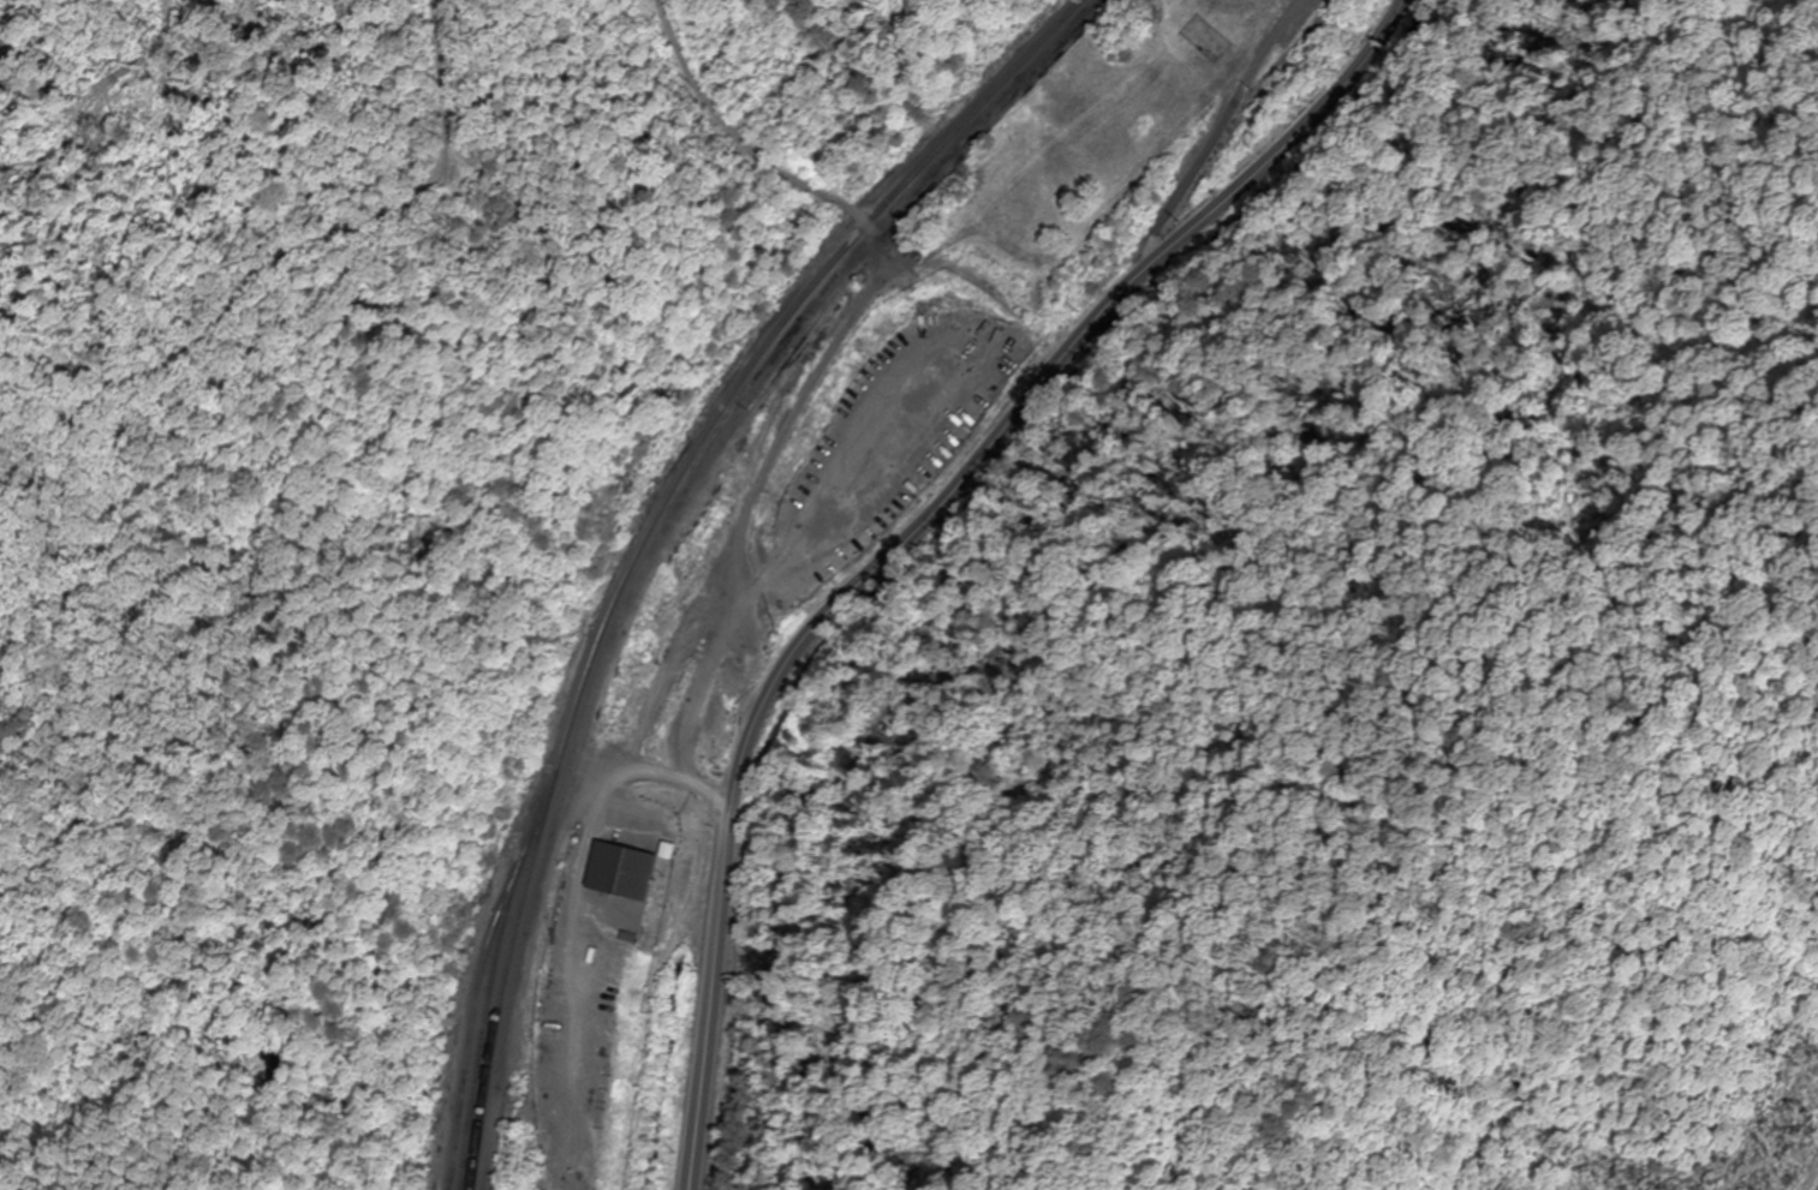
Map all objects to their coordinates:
road: (912, 530)
railway: (650, 531)
railway: (664, 531)
building: (626, 872)
railway: (489, 987)
railway: (470, 1035)

